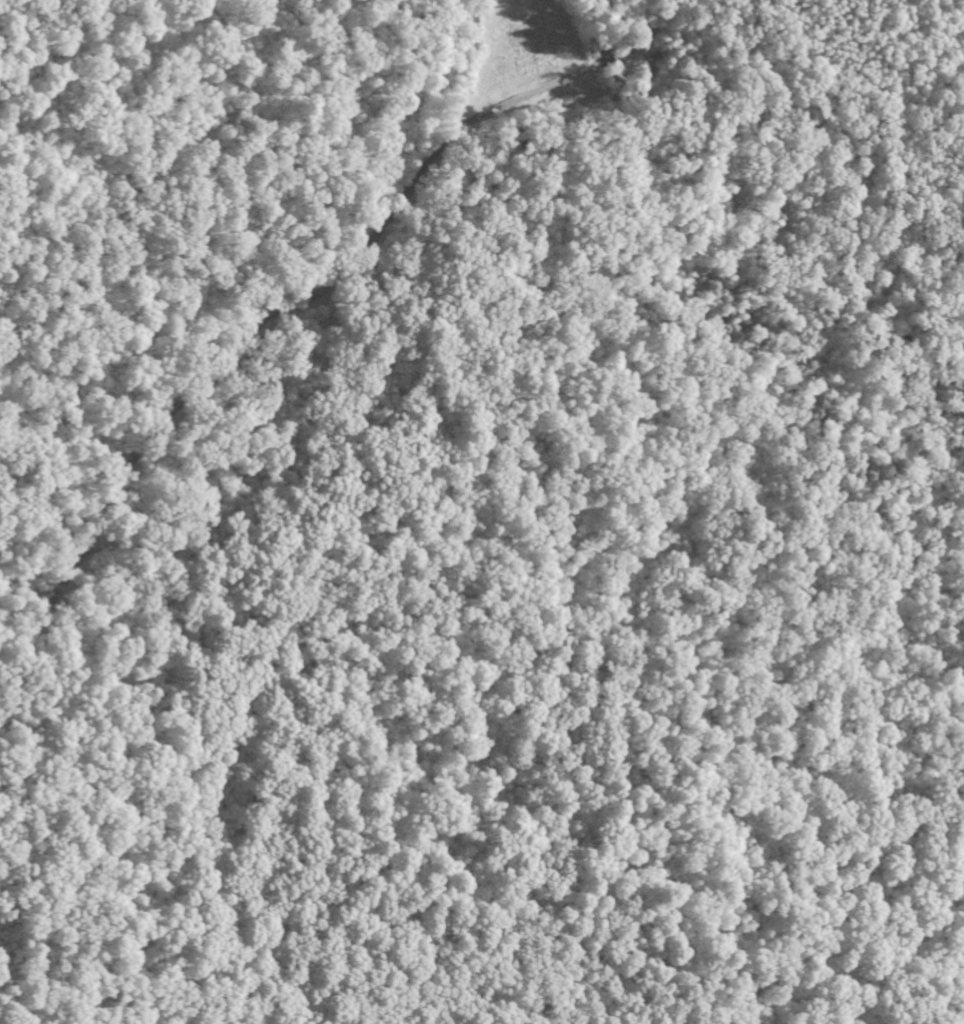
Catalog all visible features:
road: (287, 310)

